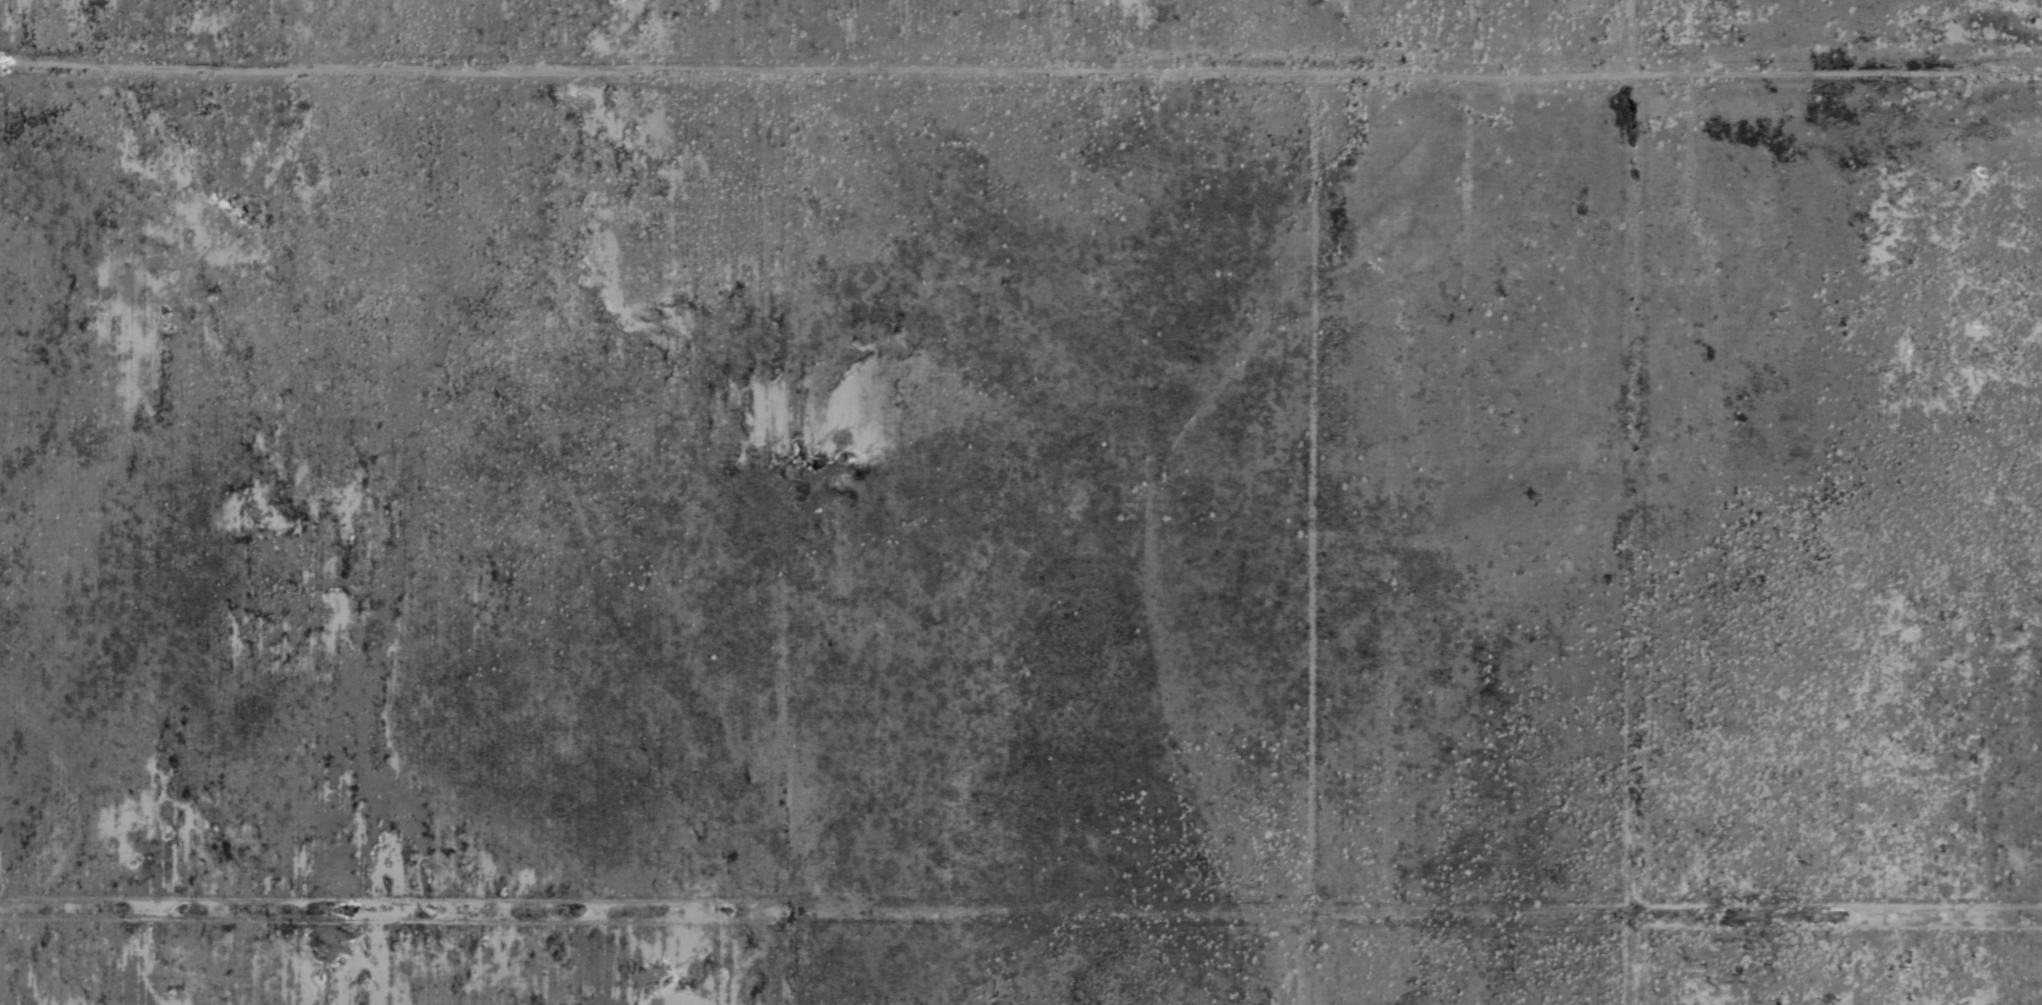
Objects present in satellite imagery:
road: (1021, 23)

